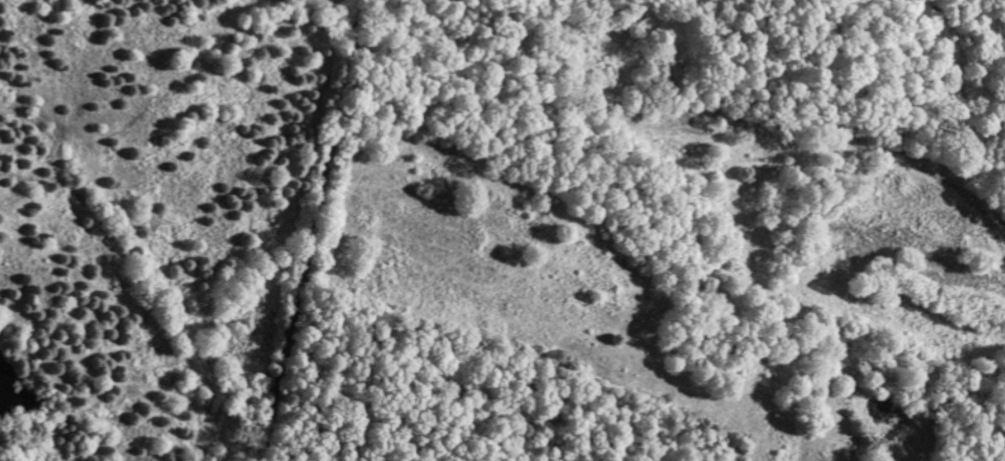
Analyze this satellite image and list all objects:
road: (29, 198)
road: (313, 230)

